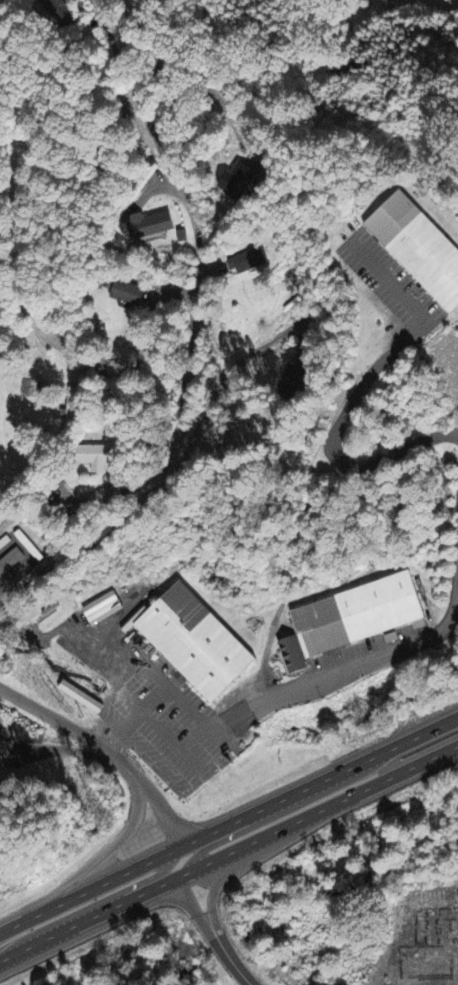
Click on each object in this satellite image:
building: (242, 180)
building: (418, 246)
building: (249, 263)
road: (24, 284)
building: (129, 294)
road: (192, 332)
building: (294, 382)
road: (216, 383)
road: (361, 388)
building: (101, 459)
building: (16, 560)
building: (107, 607)
building: (353, 620)
building: (195, 643)
building: (87, 656)
road: (286, 693)
building: (84, 697)
building: (5, 749)
road: (104, 750)
road: (319, 816)
road: (227, 824)
road: (221, 837)
road: (112, 847)
road: (141, 884)
road: (214, 890)
road: (88, 919)
road: (212, 932)

